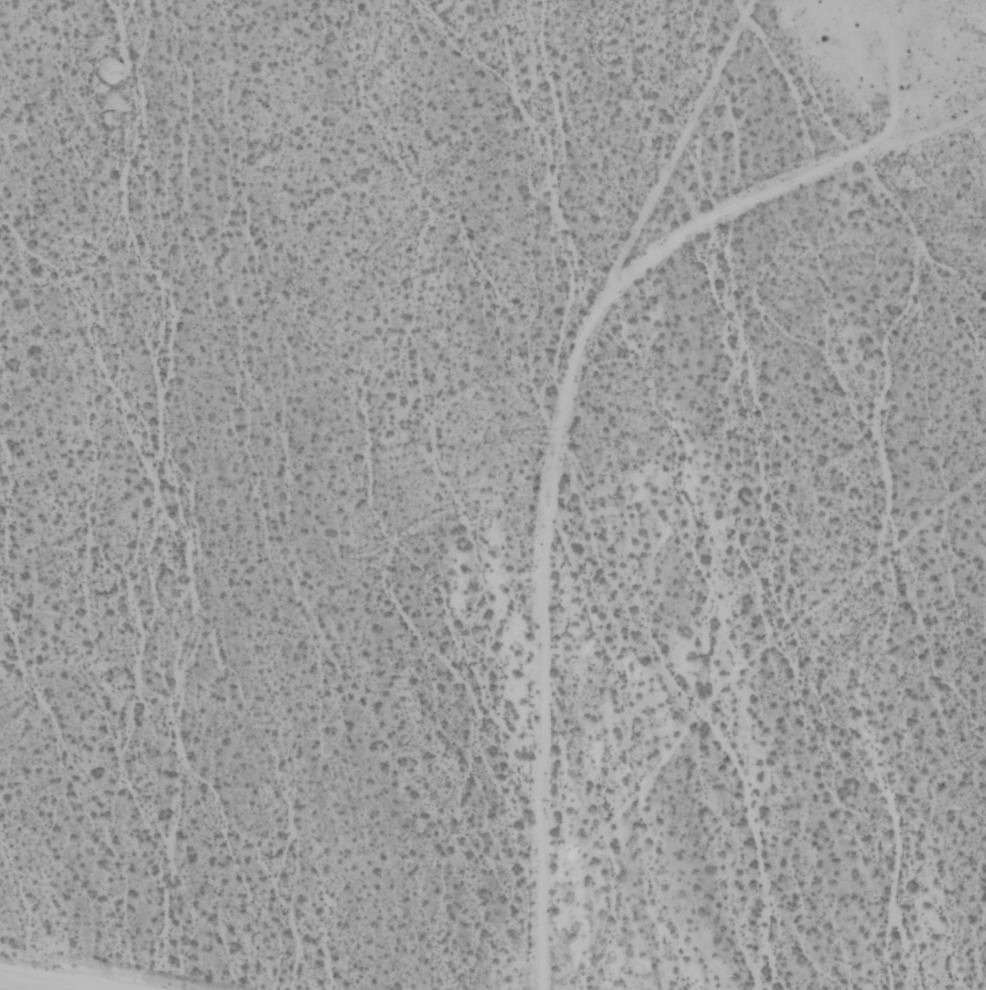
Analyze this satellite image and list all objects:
road: (45, 981)

